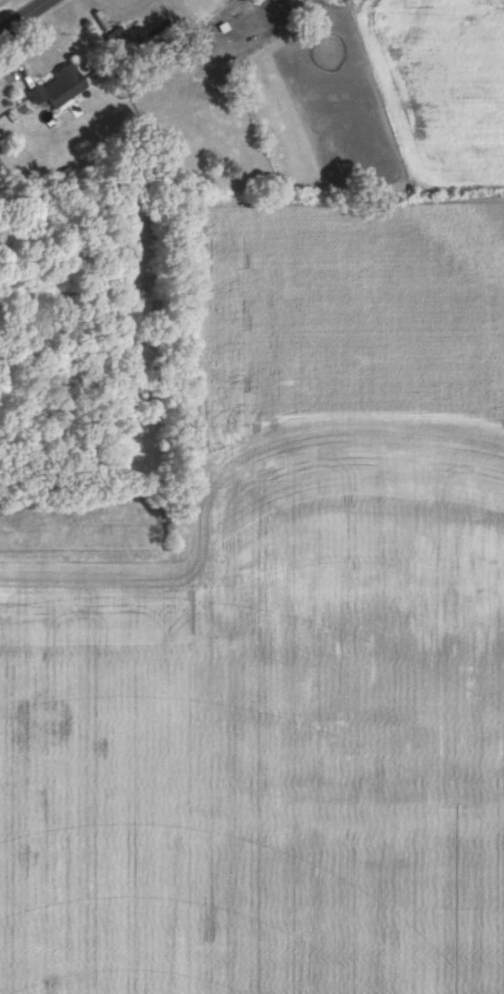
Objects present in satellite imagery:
road: (22, 15)
building: (141, 34)
building: (57, 87)

